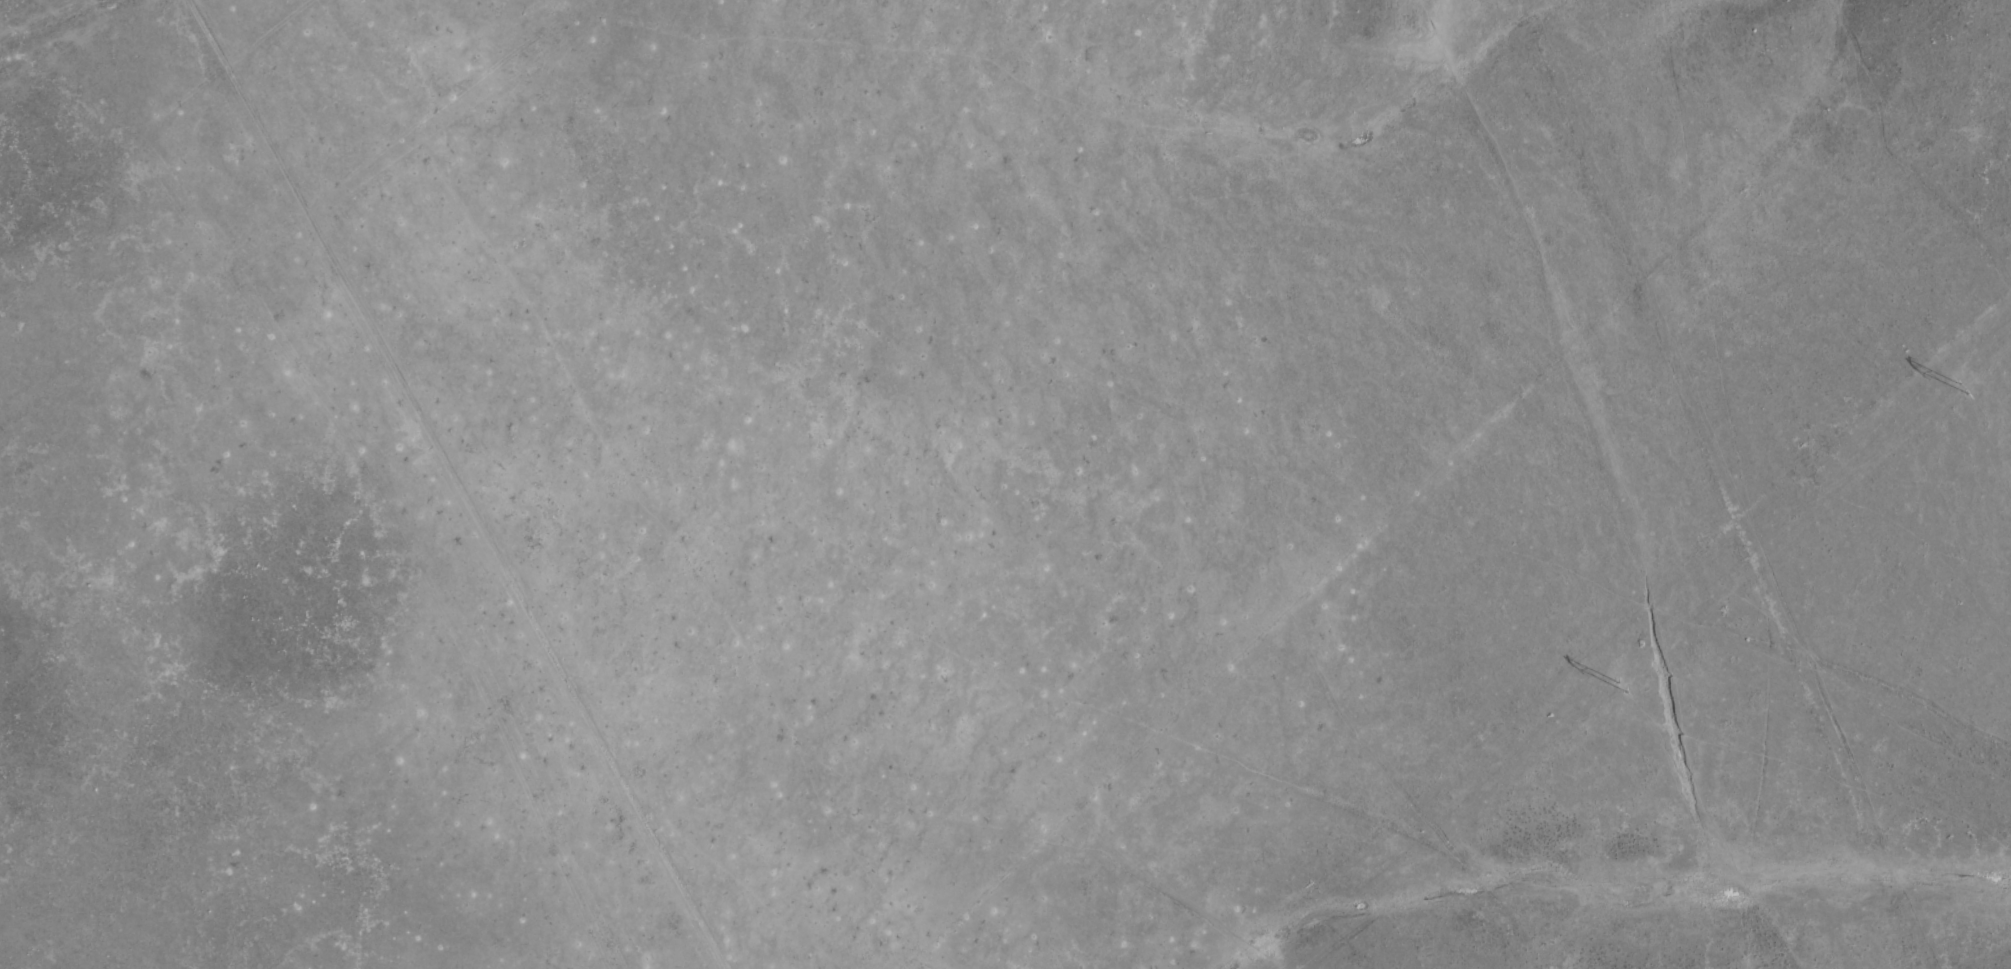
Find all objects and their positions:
road: (164, 131)
power tower: (1959, 387)
road: (351, 476)
power tower: (1620, 686)

